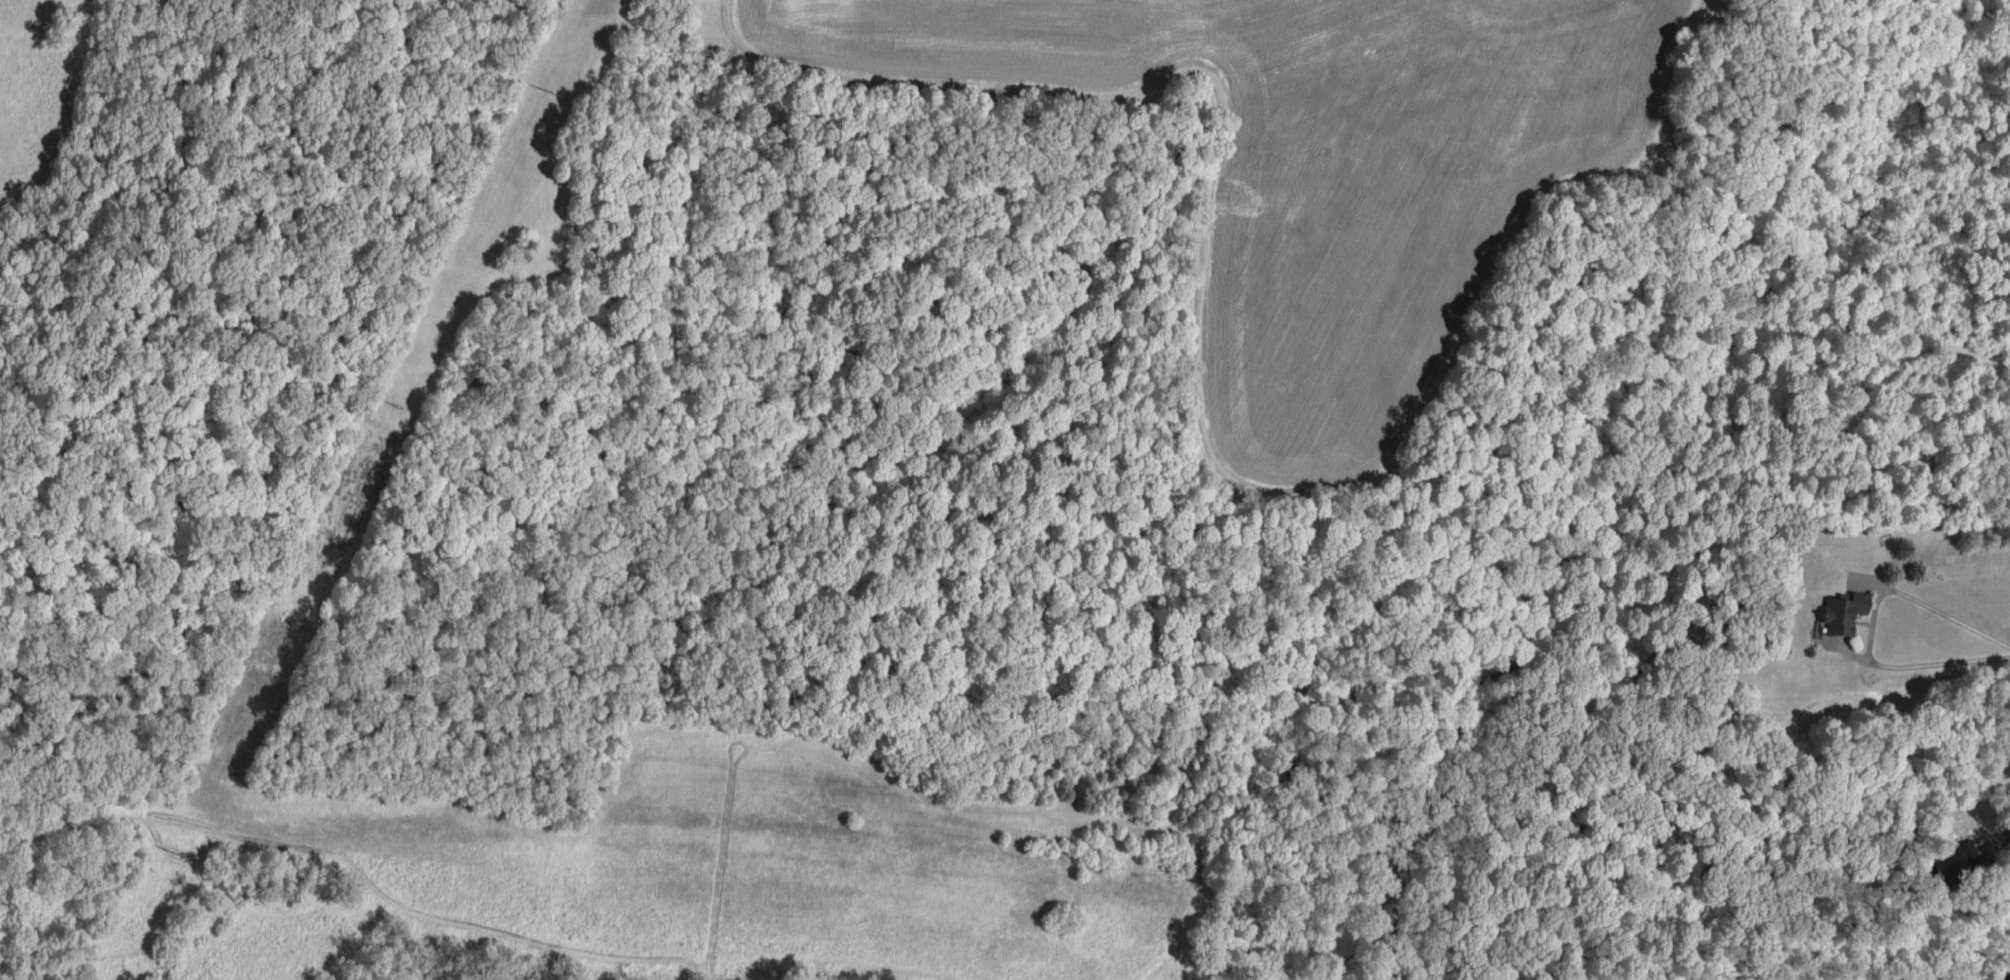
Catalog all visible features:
building: (1843, 612)
road: (1871, 623)
road: (2003, 838)
building: (1954, 864)
river: (2004, 977)

